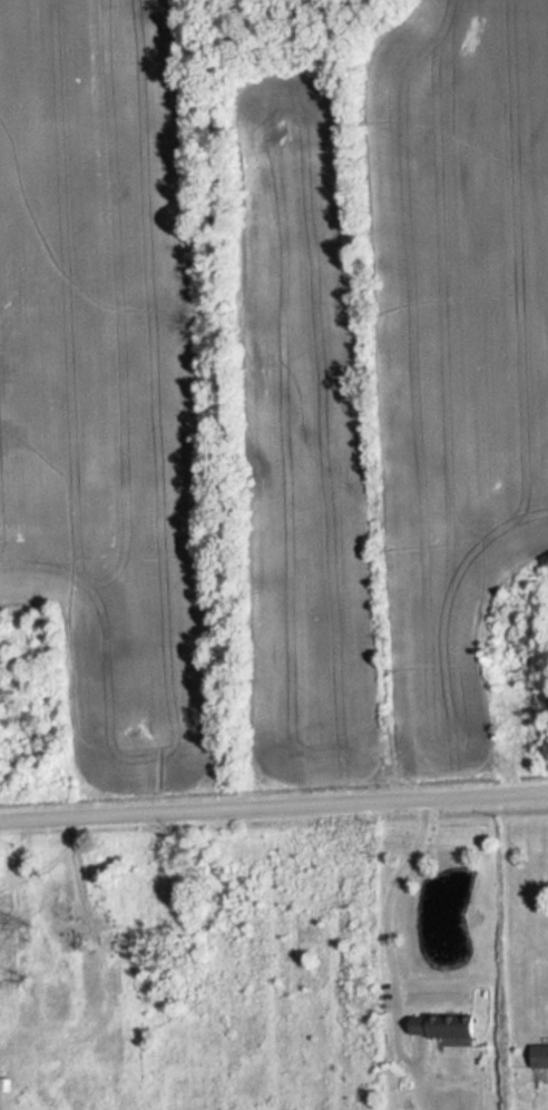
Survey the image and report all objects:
road: (274, 811)
building: (66, 931)
road: (384, 944)
building: (444, 1026)
building: (540, 1057)

